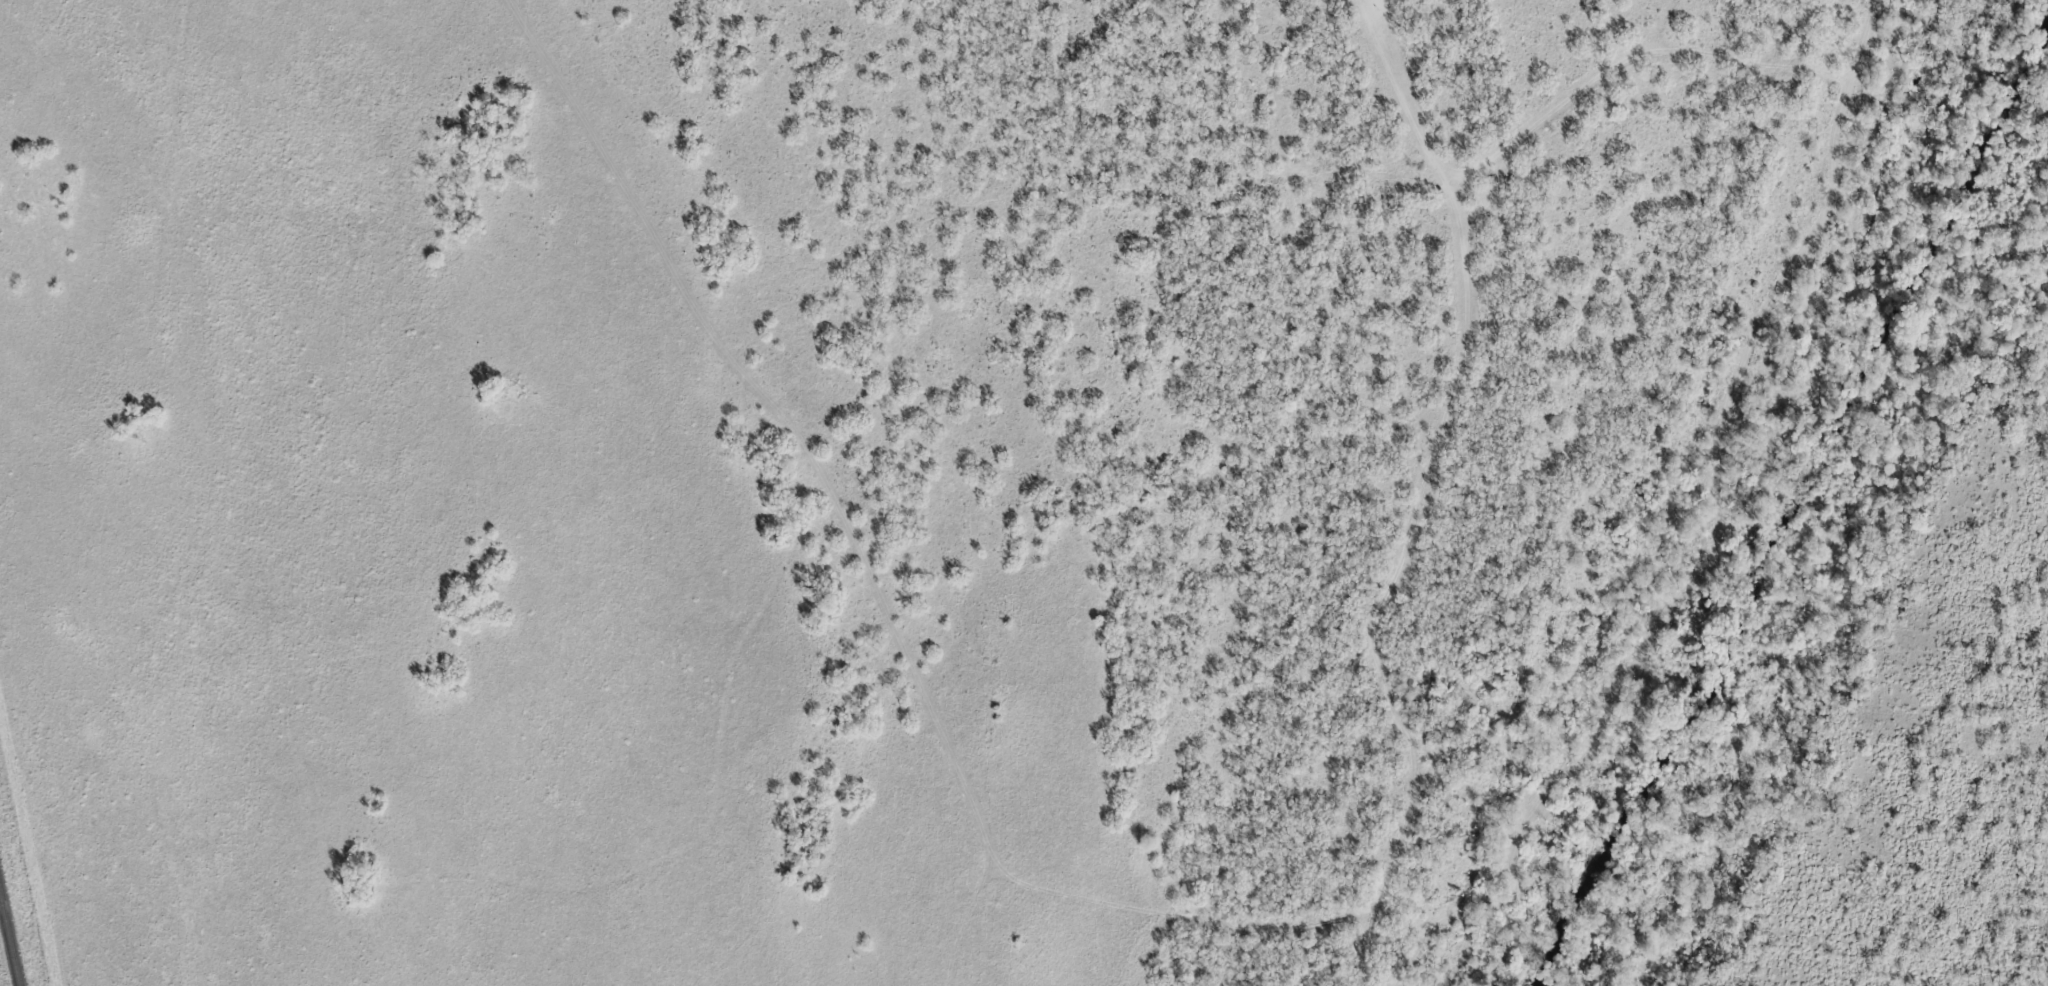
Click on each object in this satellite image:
river: (1805, 497)
railway: (9, 942)

